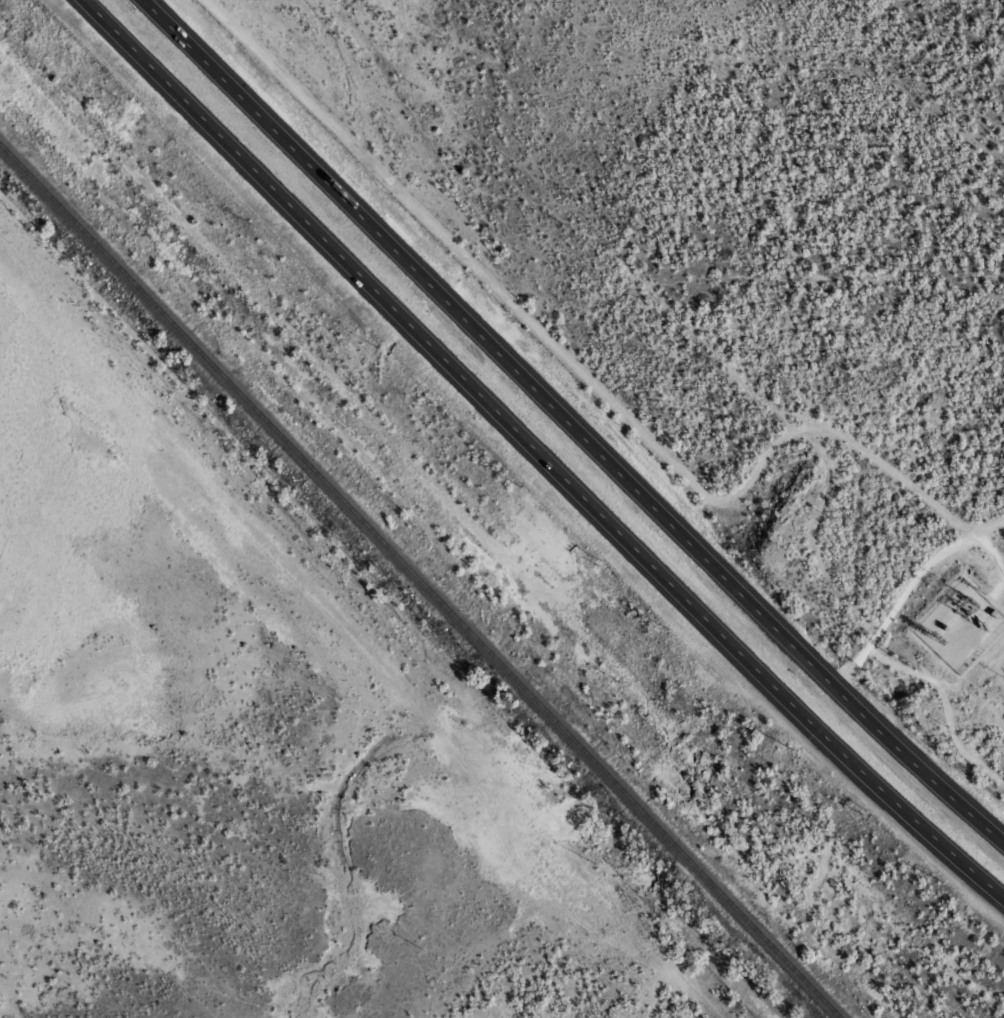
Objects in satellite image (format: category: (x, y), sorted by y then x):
road: (563, 434)
road: (537, 452)
railway: (416, 585)
power substation: (959, 623)

